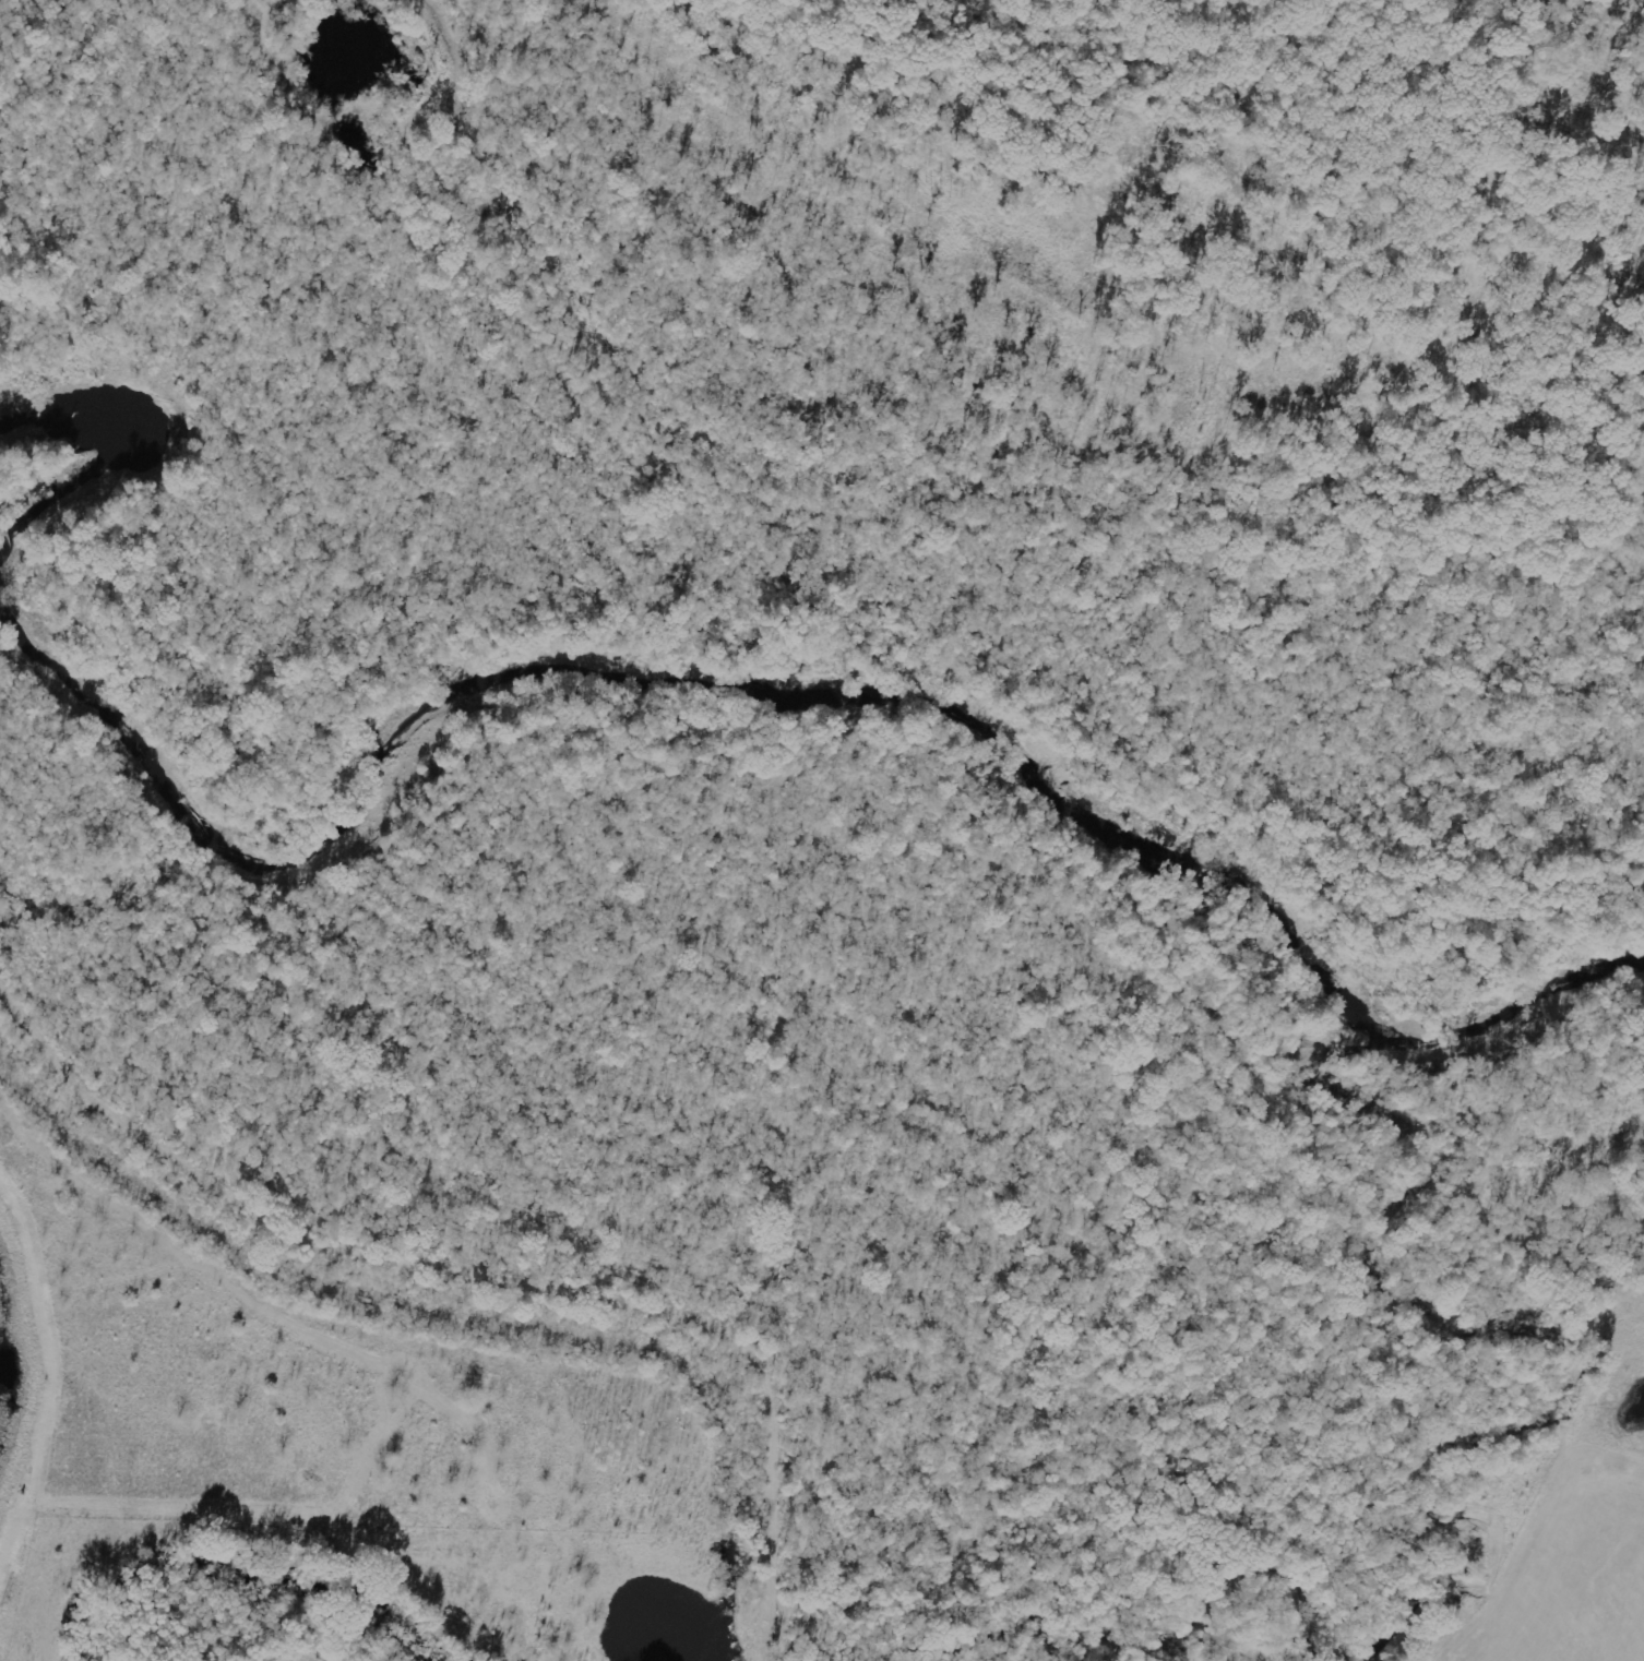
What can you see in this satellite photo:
river: (596, 661)

